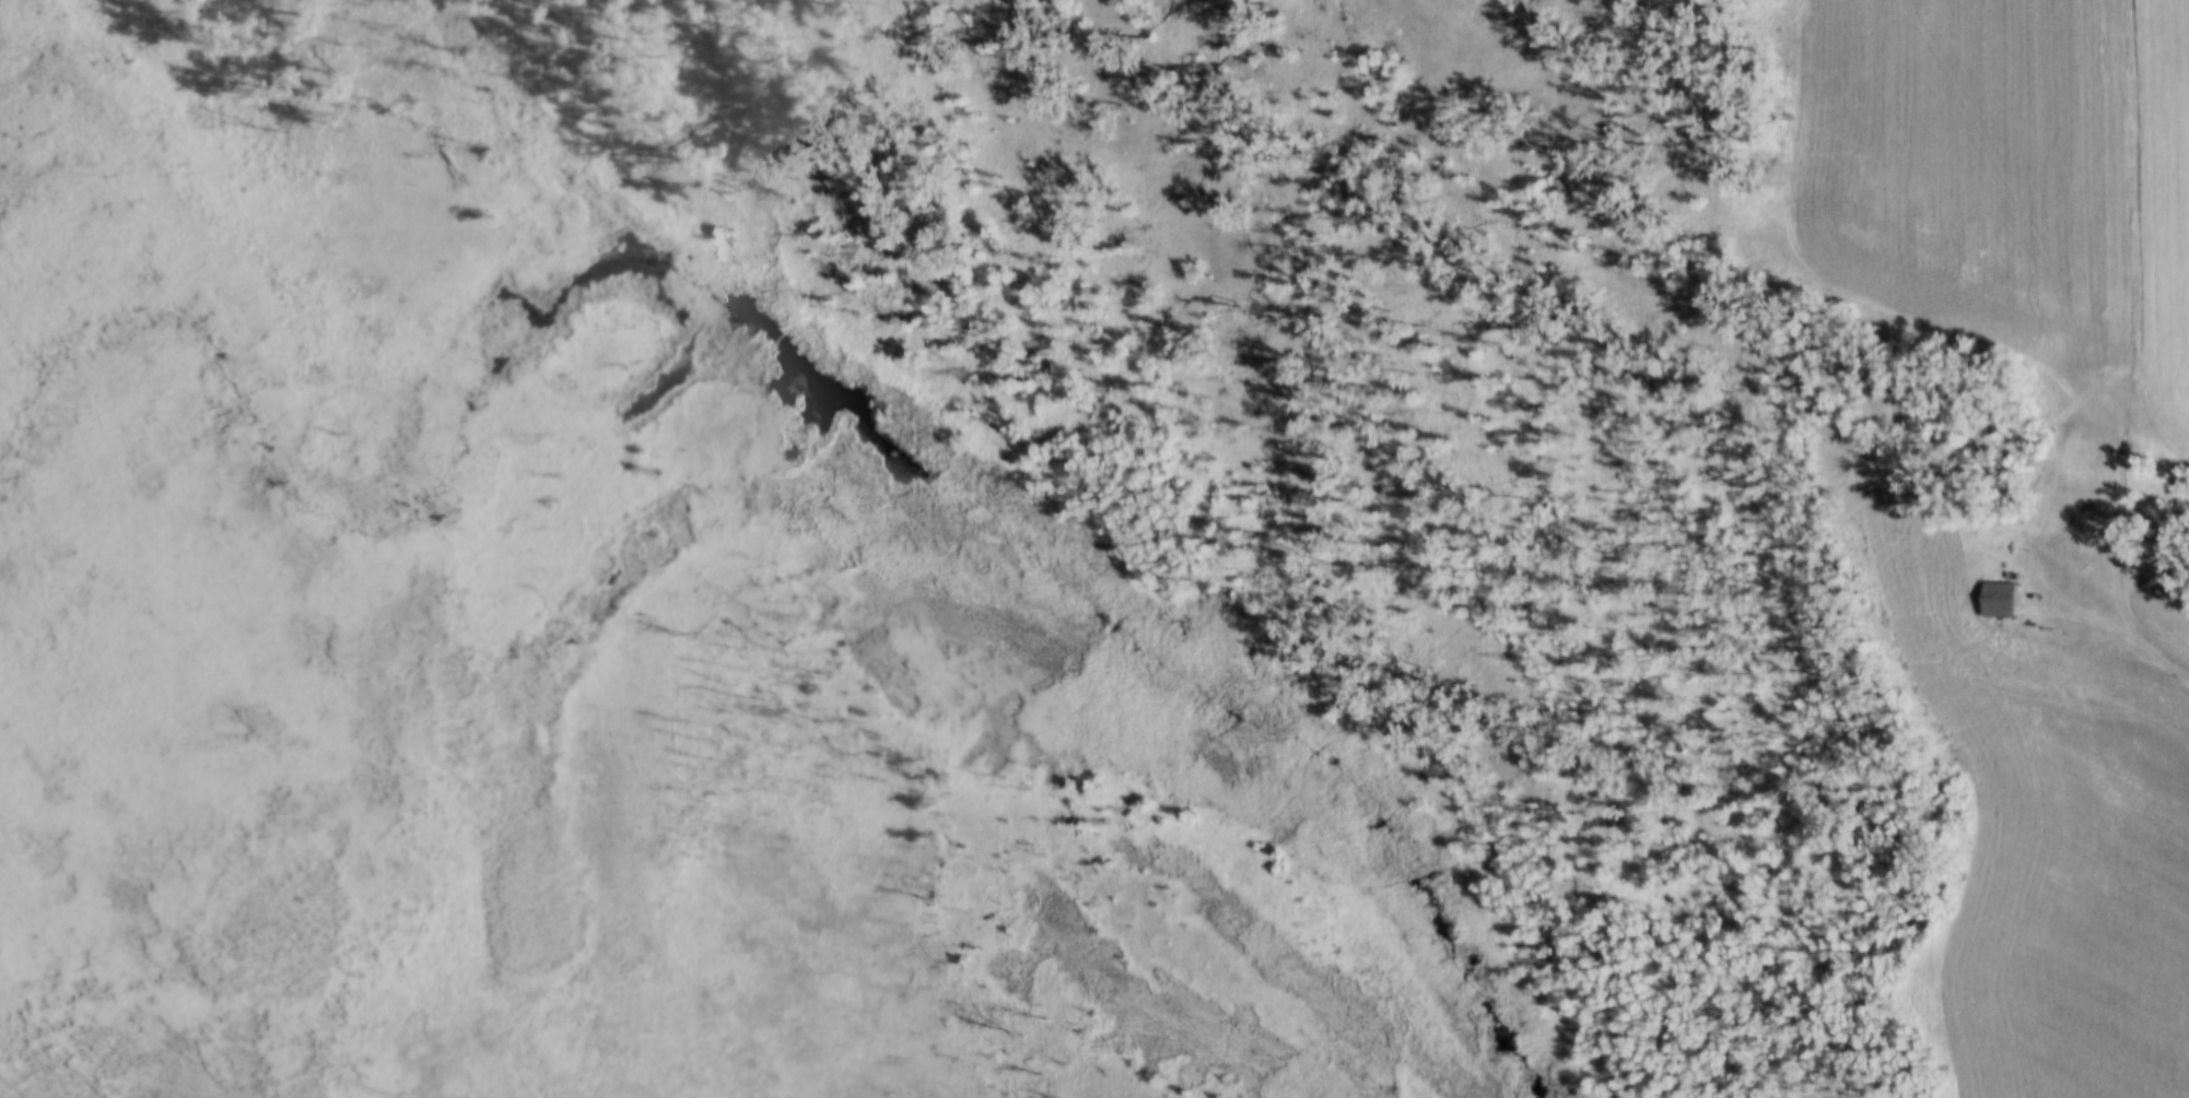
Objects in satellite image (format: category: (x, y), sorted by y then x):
building: (2002, 601)
road: (2118, 615)

